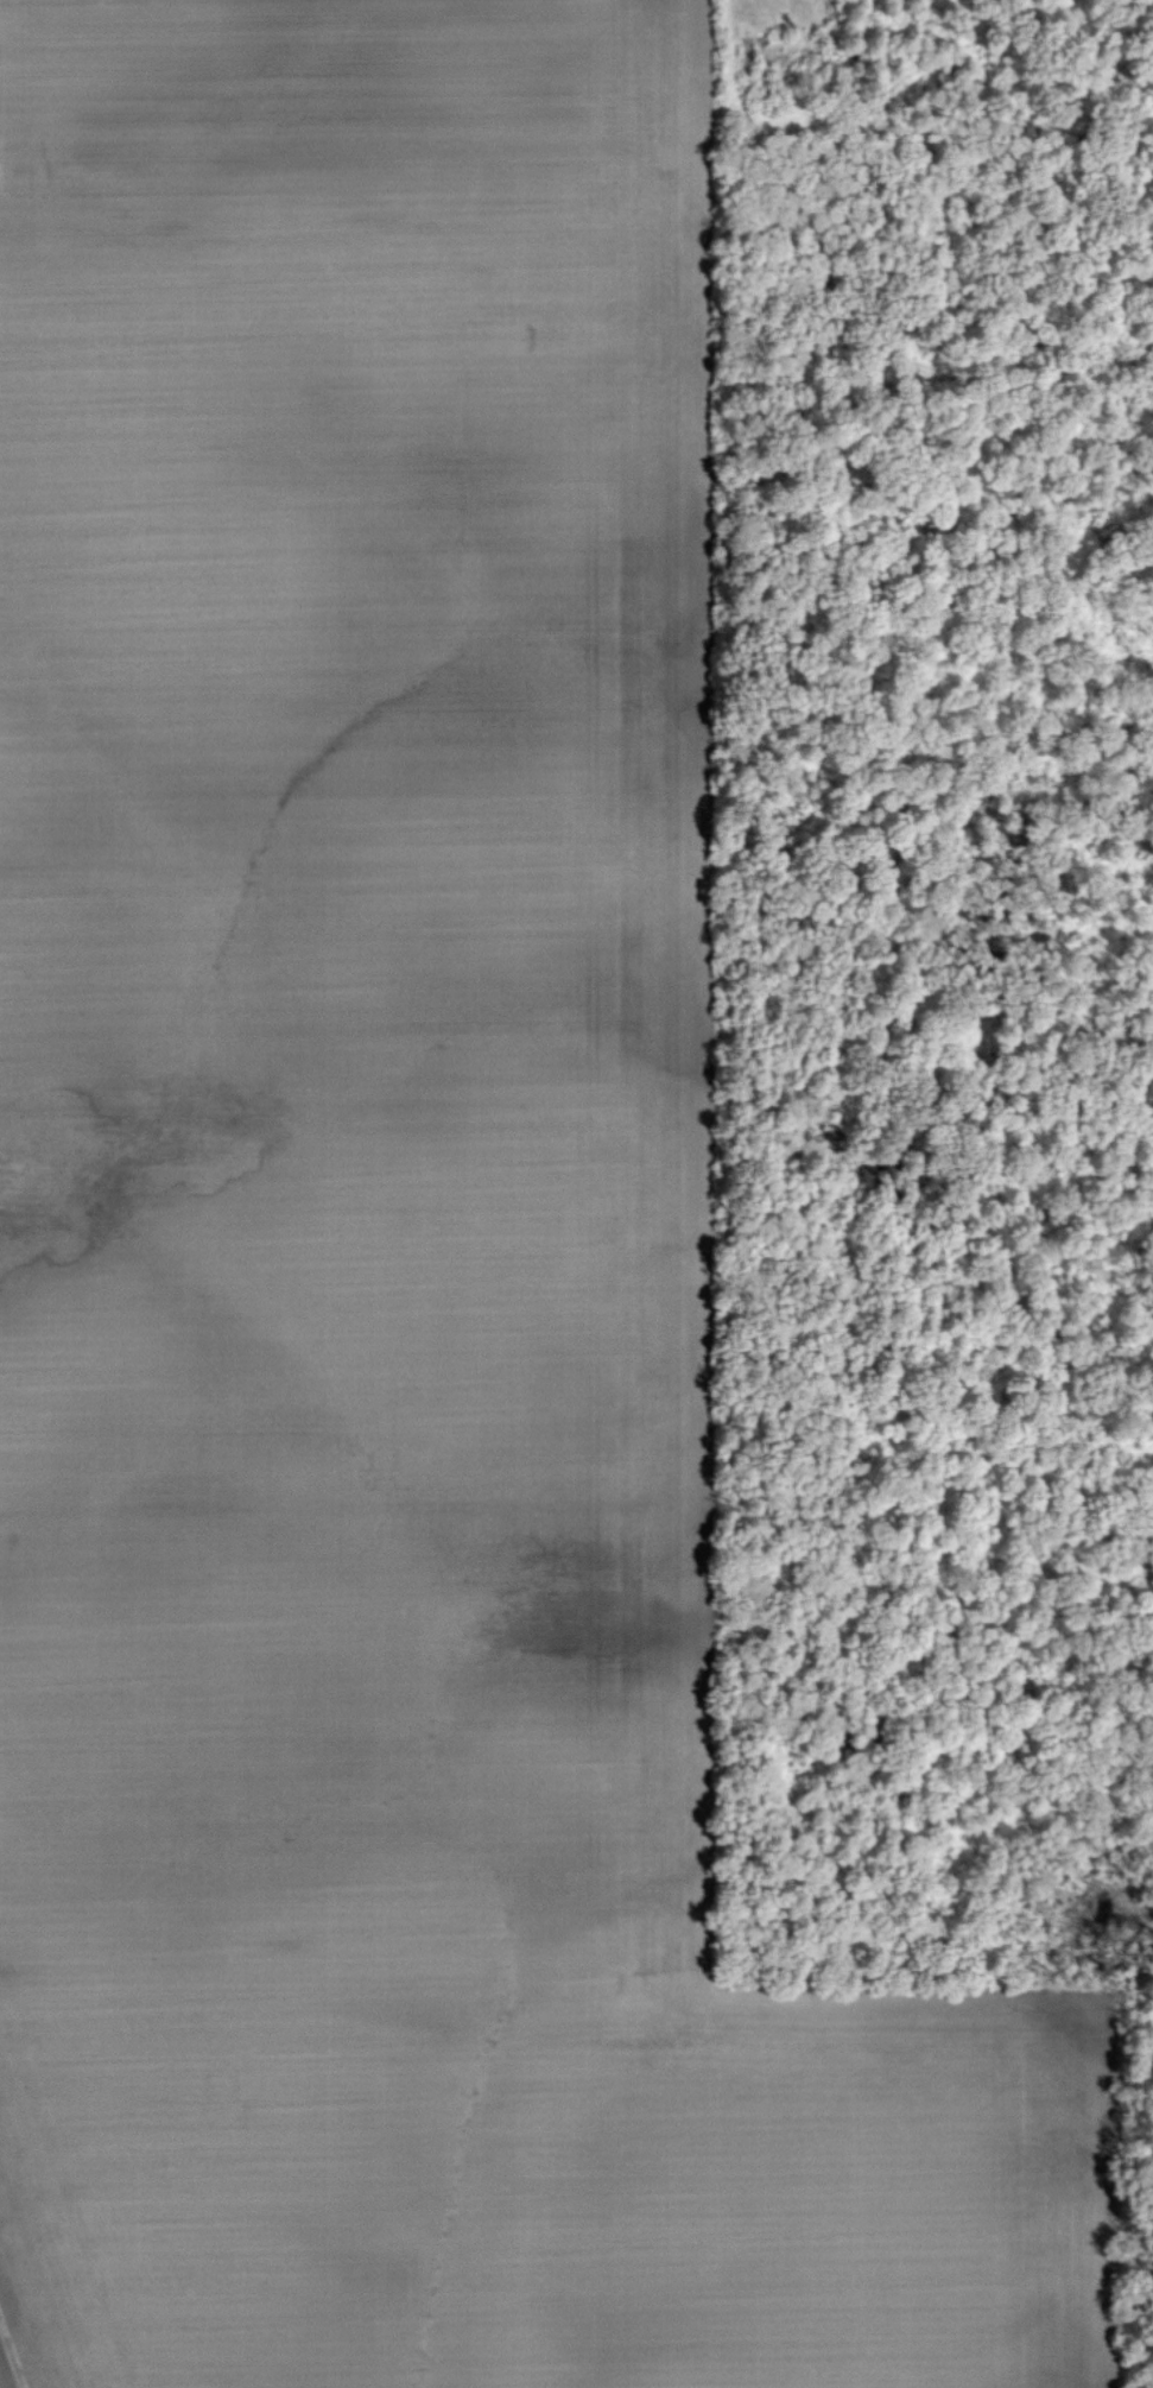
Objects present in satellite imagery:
road: (2, 2378)

